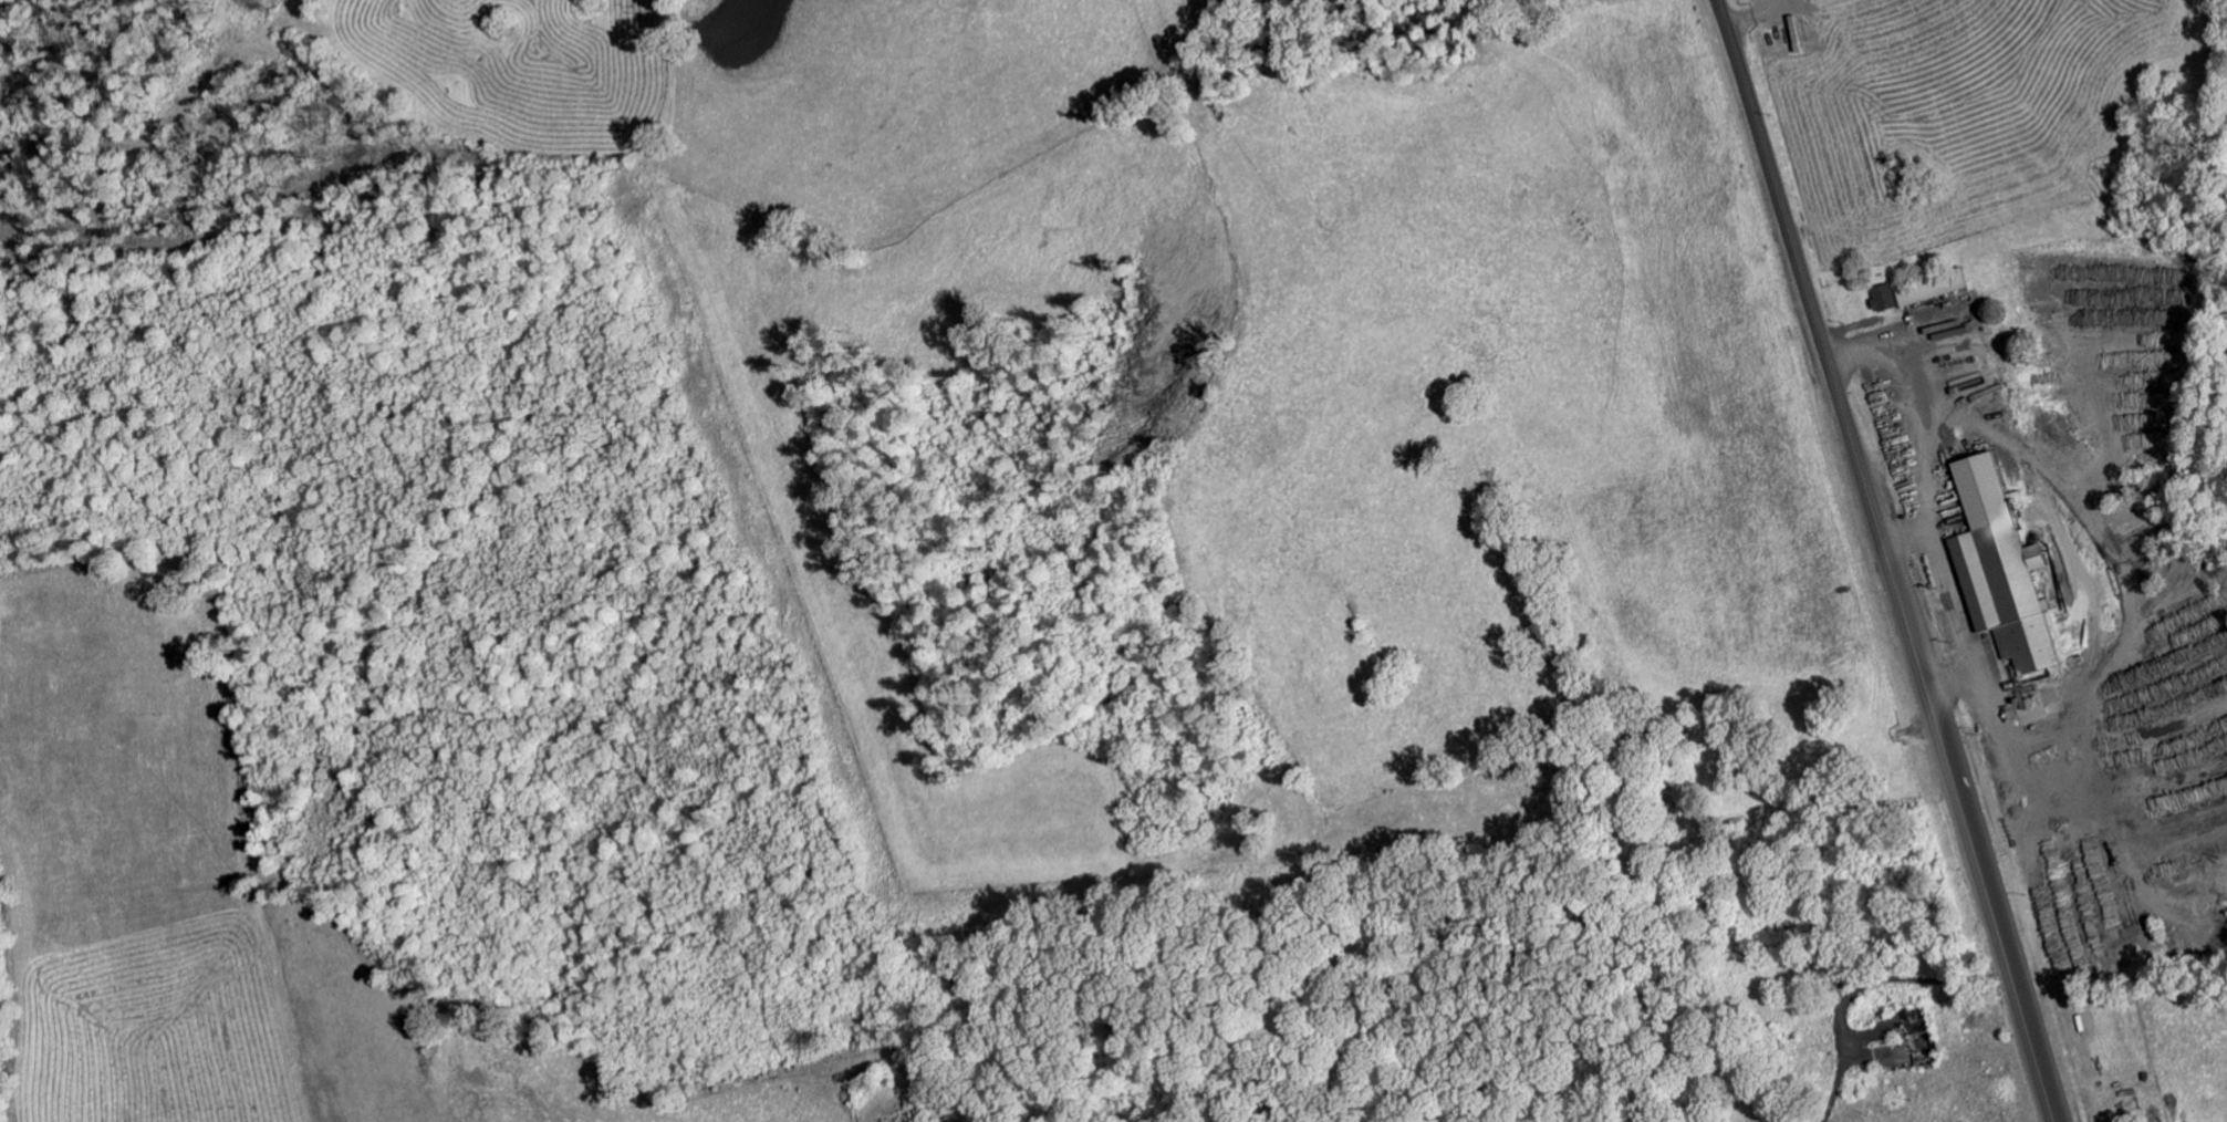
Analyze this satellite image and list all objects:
building: (1802, 0)
building: (1907, 300)
building: (1880, 302)
road: (1886, 560)
building: (1996, 573)

